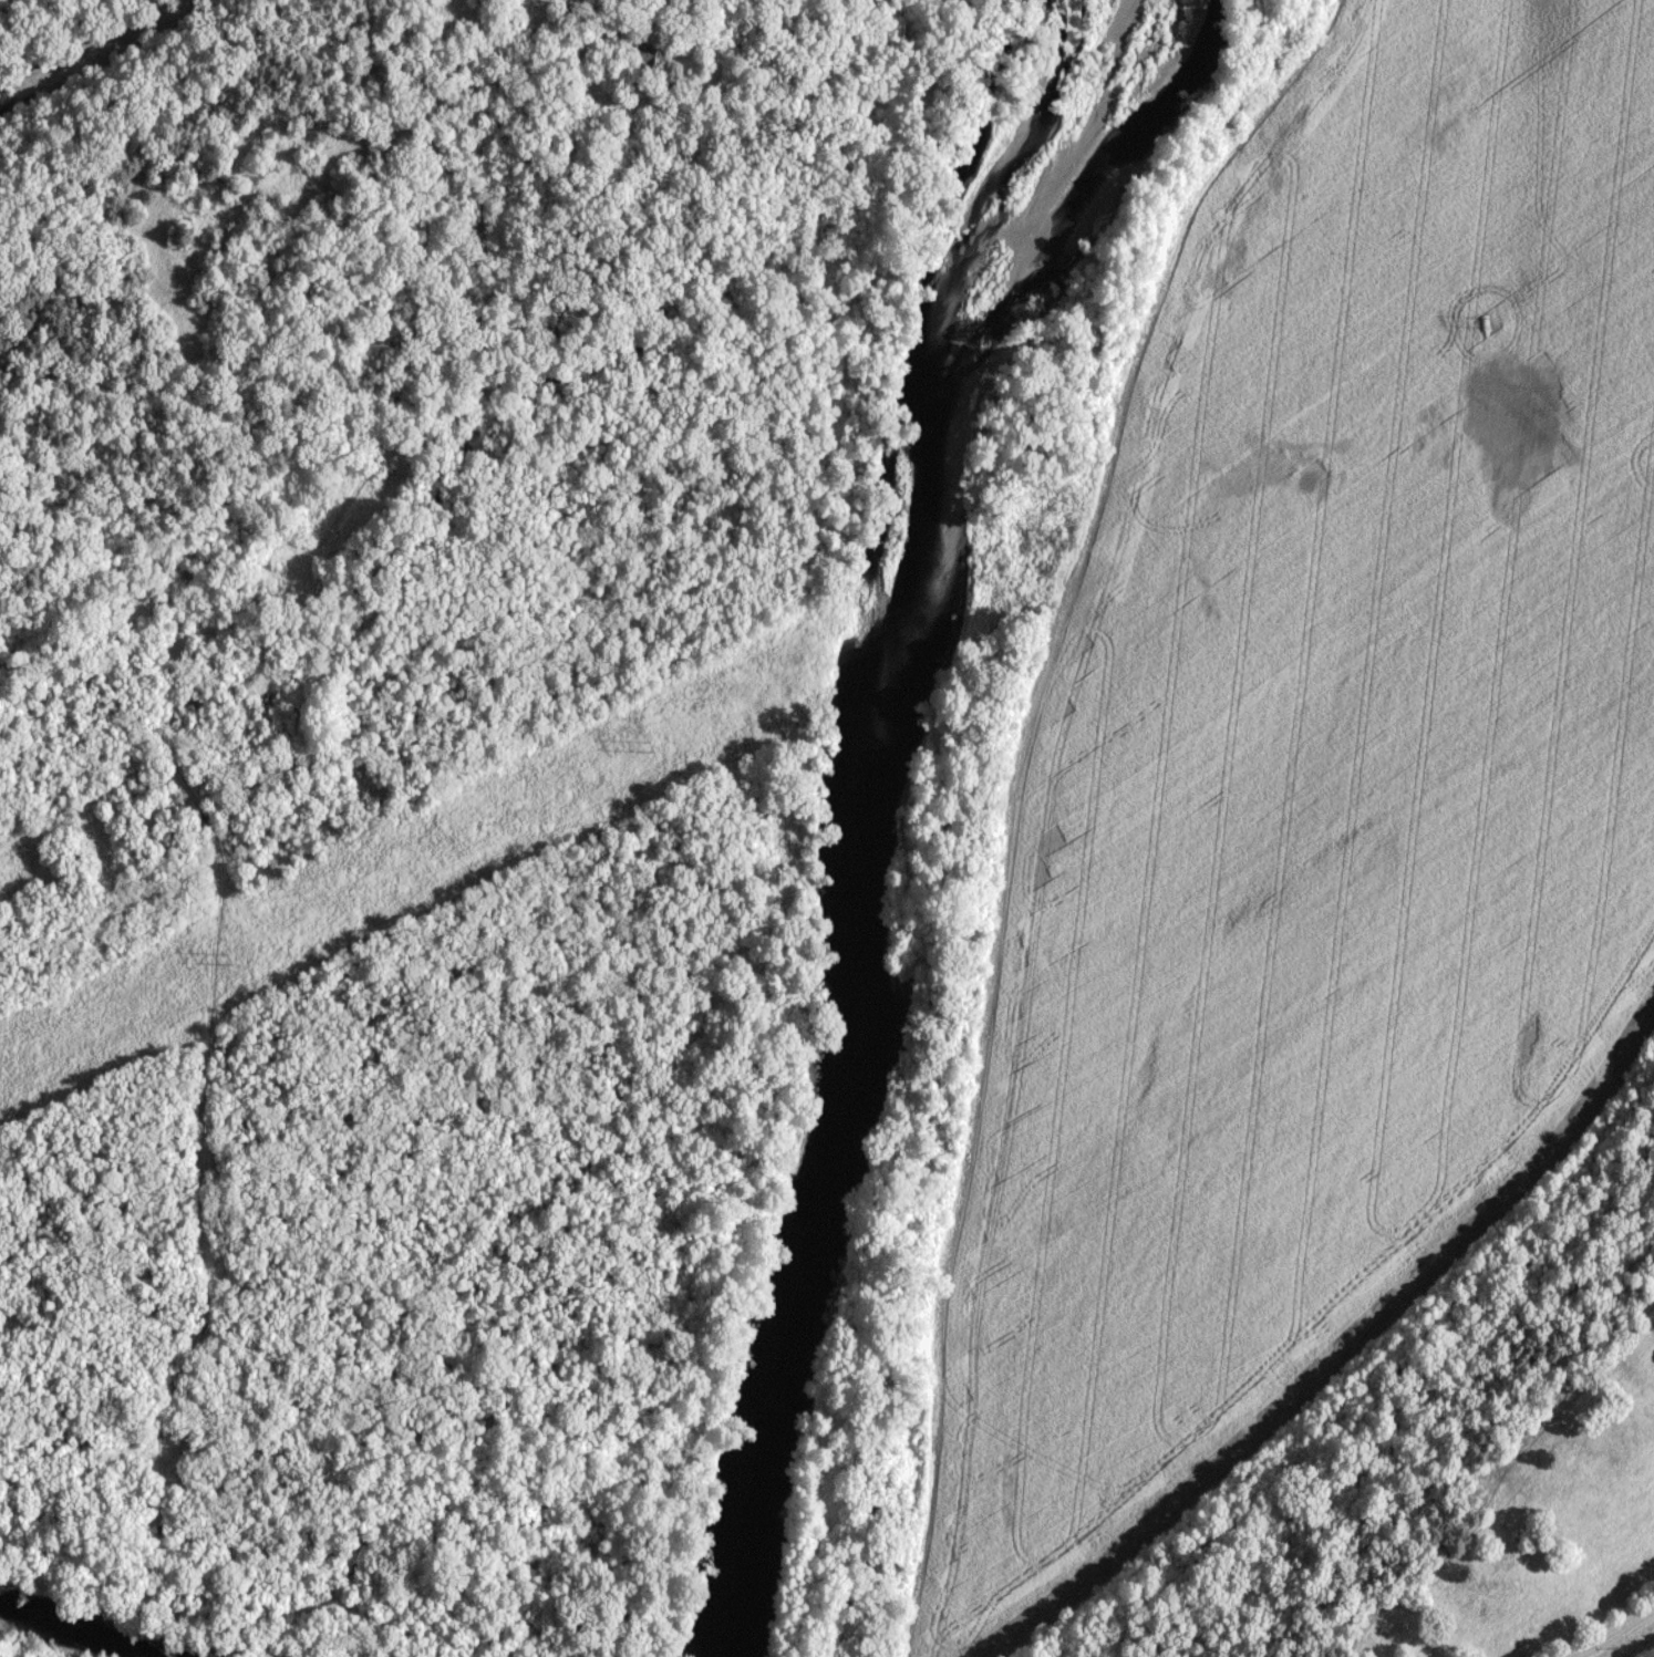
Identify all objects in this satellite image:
building: (649, 54)
power tower: (1484, 324)
power tower: (1066, 538)
power tower: (648, 749)
river: (855, 778)
power tower: (226, 959)
road: (1608, 1628)

